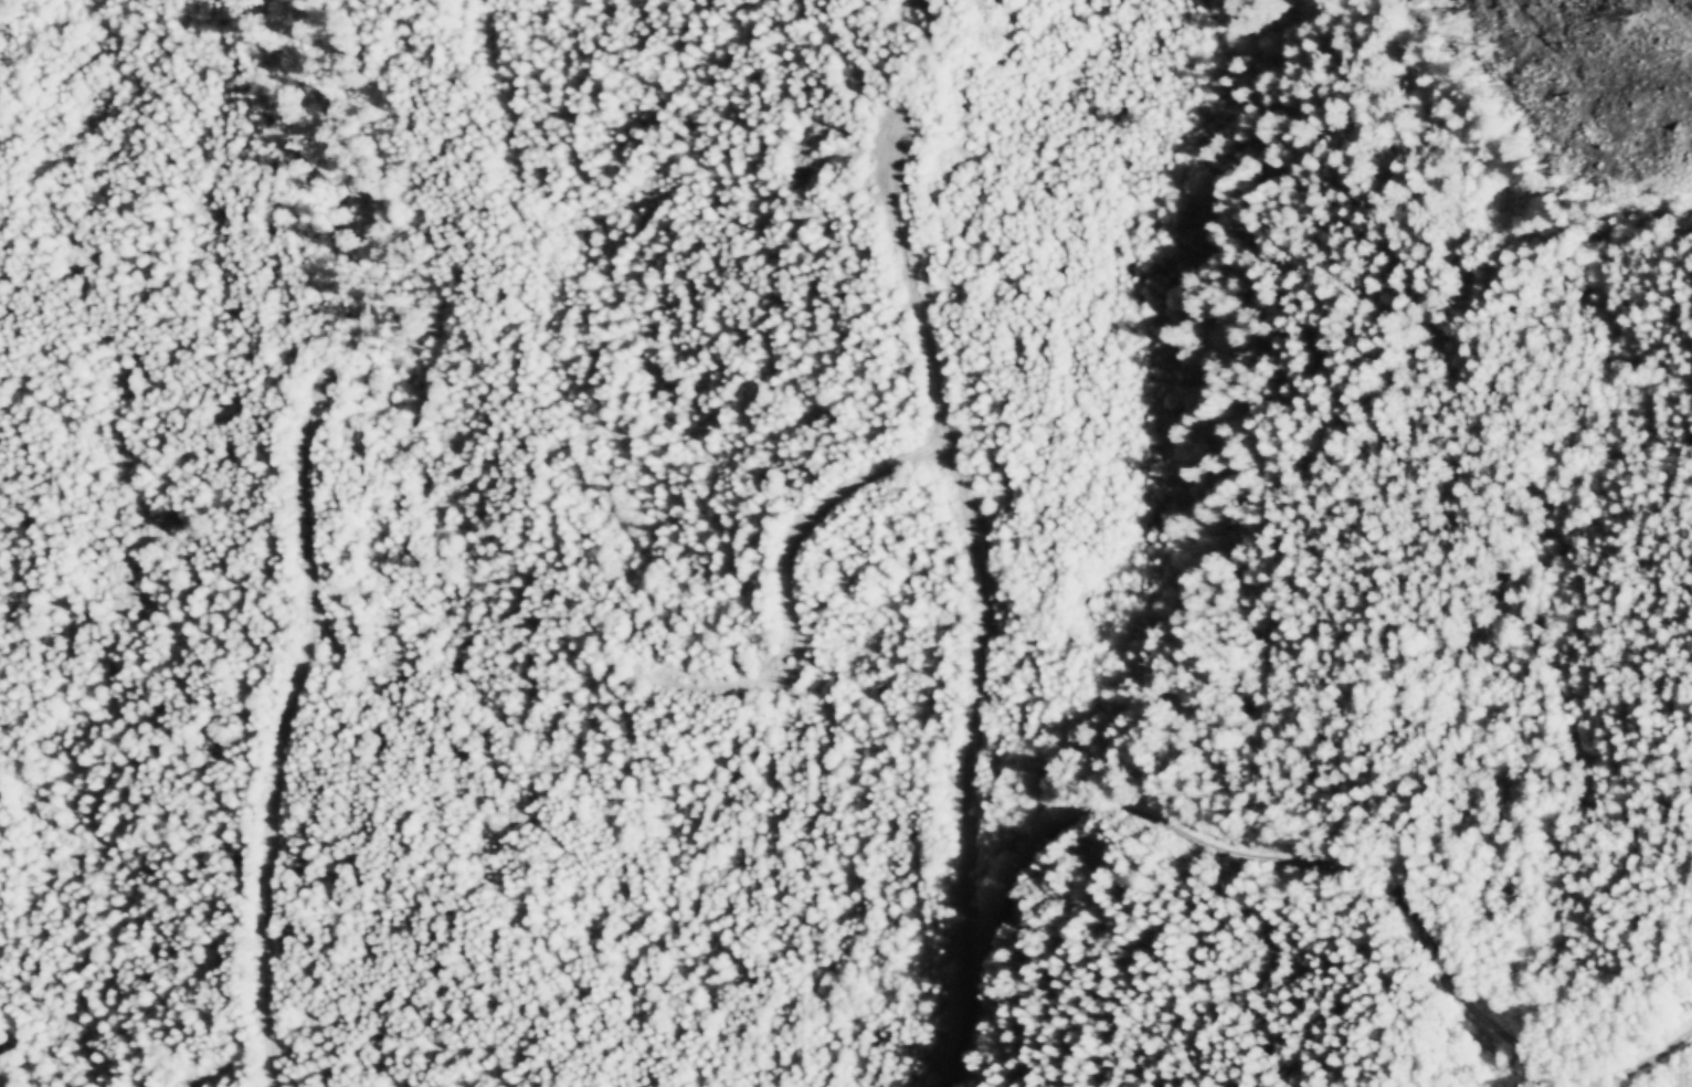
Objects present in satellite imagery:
road: (972, 561)
road: (283, 721)
road: (1278, 867)

